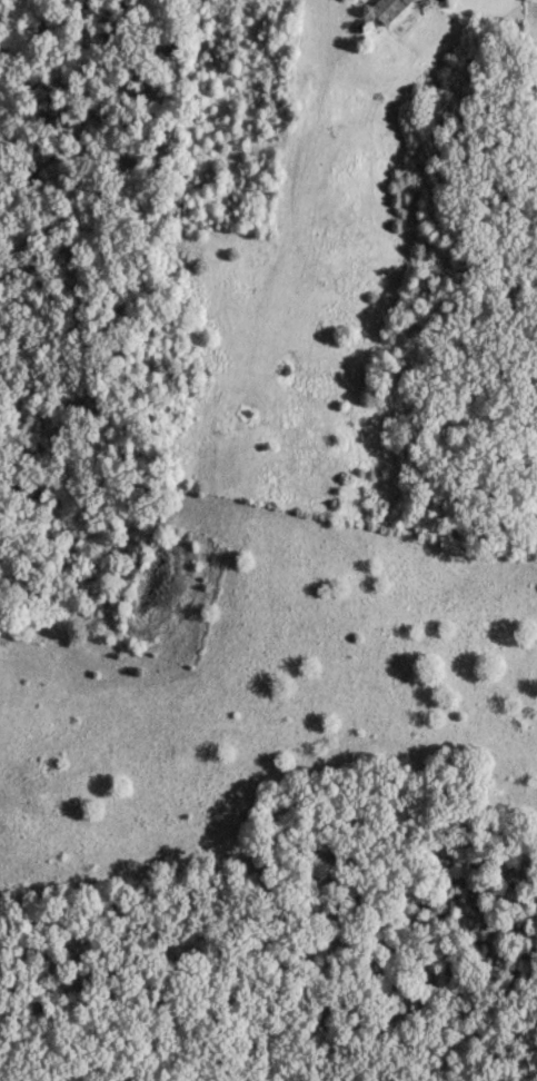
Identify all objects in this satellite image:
building: (385, 9)

